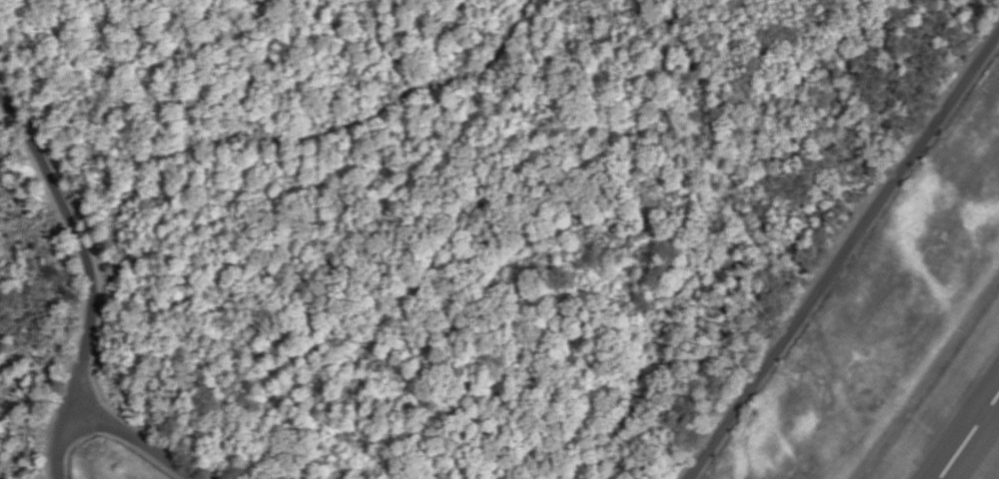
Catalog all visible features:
road: (841, 255)
road: (94, 276)
airport: (900, 338)
road: (136, 438)
airport runway: (970, 438)
airport: (113, 462)

